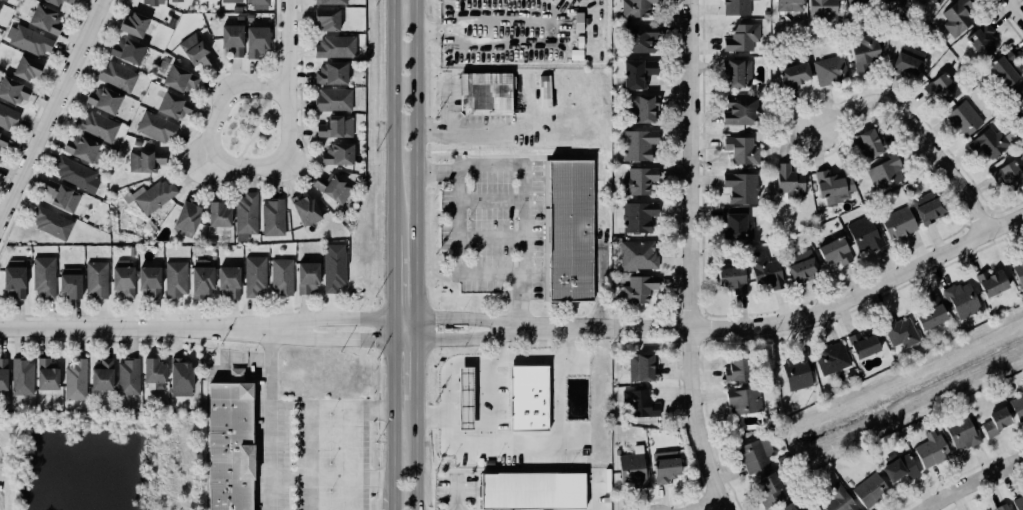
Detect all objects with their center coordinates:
building: (6, 0)
building: (175, 0)
building: (231, 1)
building: (934, 1)
building: (59, 2)
building: (153, 2)
building: (331, 2)
building: (854, 2)
building: (257, 3)
building: (898, 3)
building: (0, 5)
building: (787, 5)
building: (735, 7)
building: (634, 8)
building: (821, 9)
road: (1015, 10)
building: (764, 14)
building: (955, 17)
building: (45, 19)
building: (326, 19)
building: (134, 24)
building: (739, 38)
building: (636, 39)
building: (28, 40)
building: (232, 40)
road: (544, 40)
building: (978, 40)
building: (256, 41)
road: (287, 45)
building: (336, 47)
building: (128, 50)
building: (195, 51)
building: (863, 51)
building: (906, 63)
building: (27, 68)
building: (1001, 69)
building: (827, 70)
building: (636, 73)
building: (331, 74)
building: (735, 74)
building: (791, 75)
building: (117, 76)
building: (181, 79)
building: (939, 88)
building: (13, 90)
building: (545, 91)
building: (485, 94)
building: (104, 100)
building: (334, 100)
building: (1016, 102)
road: (267, 105)
building: (174, 106)
road: (50, 108)
building: (640, 109)
building: (738, 109)
building: (8, 117)
road: (388, 117)
building: (962, 119)
building: (97, 126)
building: (156, 127)
building: (336, 127)
road: (249, 129)
road: (253, 130)
road: (461, 131)
road: (918, 131)
road: (256, 132)
building: (2, 140)
building: (987, 143)
building: (868, 144)
road: (244, 145)
building: (636, 145)
building: (83, 148)
building: (739, 151)
building: (338, 154)
road: (414, 159)
building: (145, 161)
road: (209, 166)
building: (883, 173)
building: (77, 174)
building: (1006, 176)
building: (636, 181)
building: (787, 182)
building: (332, 187)
building: (829, 187)
building: (739, 188)
road: (519, 192)
building: (62, 196)
building: (152, 196)
road: (486, 200)
building: (926, 208)
building: (306, 210)
building: (246, 214)
building: (219, 215)
building: (636, 217)
building: (273, 218)
building: (187, 219)
building: (51, 223)
building: (897, 223)
building: (734, 226)
parking lot: (494, 230)
building: (565, 231)
building: (863, 234)
road: (487, 237)
road: (455, 250)
building: (832, 251)
building: (635, 256)
road: (689, 257)
building: (334, 267)
building: (798, 267)
building: (765, 273)
building: (1019, 273)
building: (255, 276)
road: (389, 276)
building: (282, 277)
building: (308, 277)
building: (44, 278)
building: (123, 278)
building: (202, 278)
building: (728, 278)
building: (15, 279)
building: (176, 279)
building: (97, 280)
building: (150, 282)
building: (229, 282)
building: (71, 283)
building: (988, 283)
building: (637, 289)
building: (959, 300)
building: (928, 314)
road: (402, 318)
road: (782, 323)
road: (142, 328)
road: (390, 329)
road: (415, 329)
building: (897, 332)
road: (467, 339)
road: (336, 340)
road: (402, 340)
building: (860, 345)
road: (502, 347)
building: (830, 358)
road: (483, 361)
building: (641, 367)
building: (738, 368)
building: (154, 371)
building: (796, 371)
road: (415, 372)
building: (47, 375)
building: (102, 375)
building: (3, 377)
building: (23, 377)
building: (128, 377)
building: (181, 378)
building: (76, 381)
building: (1022, 389)
building: (529, 397)
road: (555, 401)
building: (744, 401)
building: (640, 403)
road: (486, 405)
road: (328, 407)
building: (1017, 407)
road: (267, 419)
building: (996, 422)
road: (390, 425)
building: (961, 433)
road: (458, 446)
building: (229, 448)
building: (931, 449)
building: (756, 455)
road: (414, 457)
road: (350, 458)
building: (665, 467)
building: (633, 468)
building: (899, 468)
road: (328, 478)
road: (974, 482)
building: (770, 488)
building: (532, 490)
building: (870, 490)
building: (839, 501)
building: (1018, 503)
road: (704, 504)
building: (789, 507)
building: (1002, 507)

